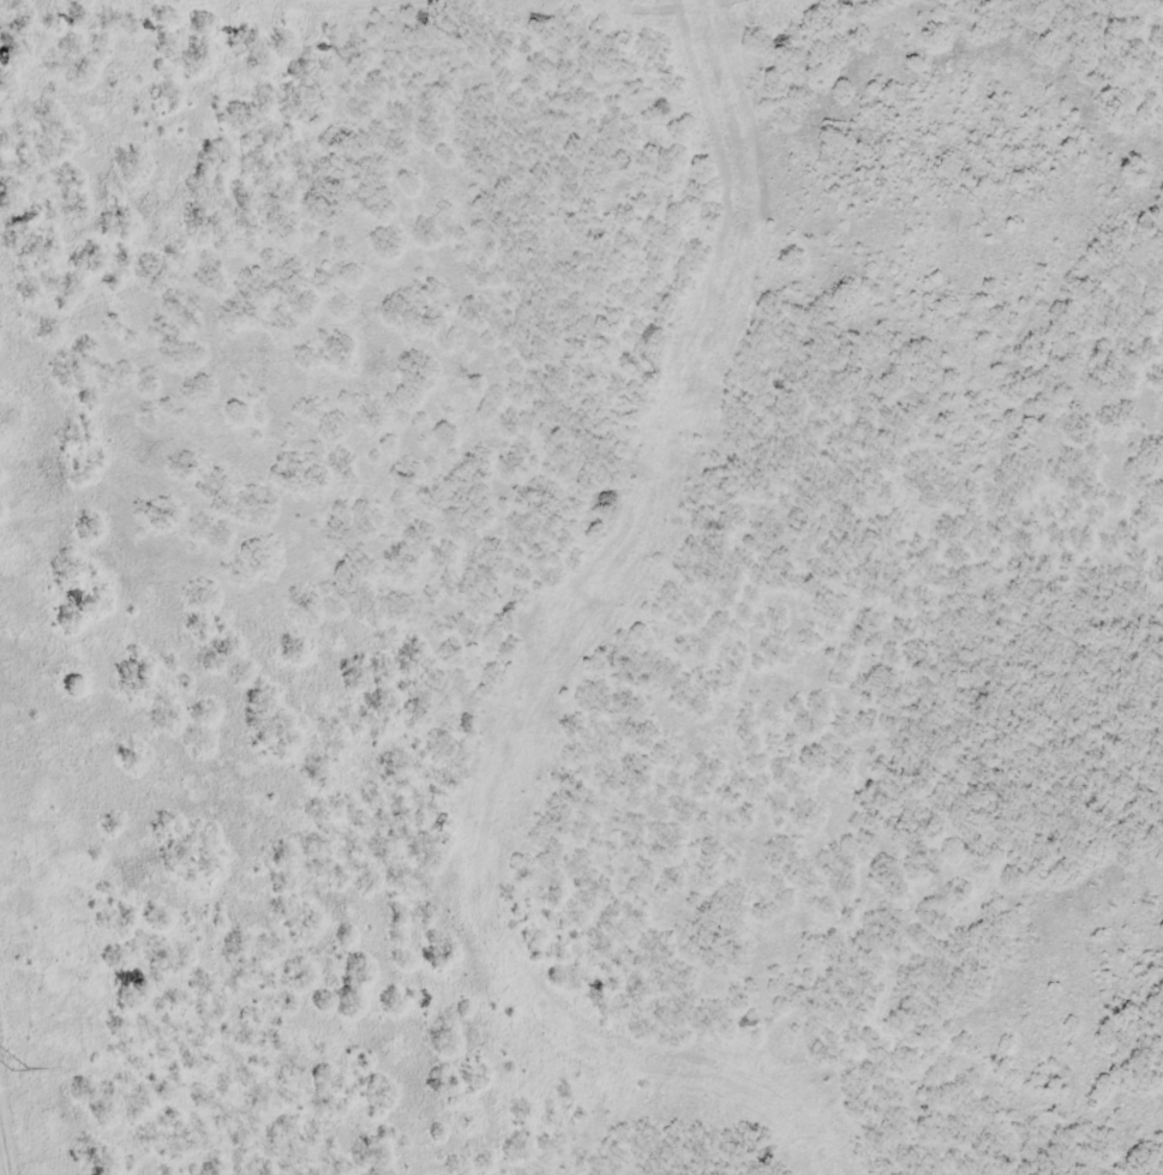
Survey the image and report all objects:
power tower: (18, 1071)

